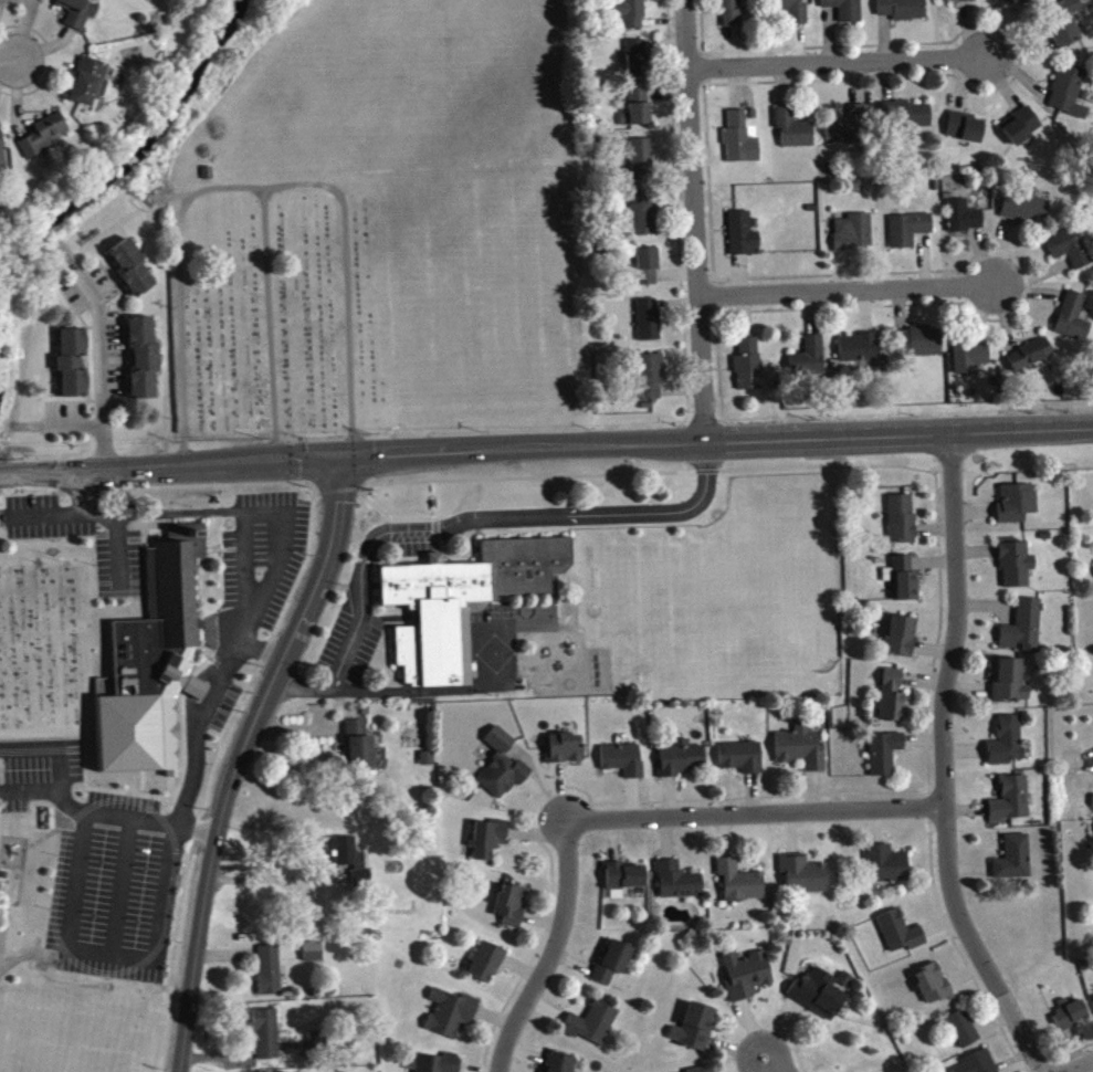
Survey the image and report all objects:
building: (23, 0)
building: (1013, 2)
building: (958, 3)
building: (845, 11)
building: (903, 11)
building: (76, 14)
building: (732, 15)
building: (1066, 24)
road: (8, 59)
road: (840, 62)
building: (638, 63)
building: (90, 87)
building: (1070, 96)
building: (640, 112)
building: (907, 119)
building: (1022, 130)
building: (852, 133)
building: (965, 133)
building: (794, 134)
building: (43, 140)
building: (740, 145)
building: (2, 158)
building: (642, 165)
road: (259, 188)
building: (1027, 211)
building: (643, 219)
building: (965, 221)
road: (697, 222)
building: (910, 234)
building: (854, 238)
building: (744, 240)
building: (1070, 252)
building: (648, 272)
building: (133, 273)
road: (849, 294)
building: (1074, 323)
road: (269, 324)
building: (649, 325)
building: (921, 347)
building: (859, 354)
building: (1030, 359)
building: (970, 361)
building: (145, 362)
building: (810, 362)
building: (73, 368)
building: (748, 369)
road: (104, 372)
building: (651, 381)
road: (716, 444)
traffic signals: (339, 455)
road: (169, 465)
building: (1017, 508)
road: (452, 523)
road: (107, 524)
building: (902, 524)
building: (1016, 569)
building: (903, 584)
building: (459, 599)
building: (1024, 632)
building: (902, 641)
building: (147, 661)
building: (1010, 686)
building: (893, 702)
road: (200, 732)
building: (1008, 747)
building: (360, 750)
building: (565, 754)
building: (802, 754)
road: (238, 756)
building: (886, 758)
building: (743, 763)
building: (428, 764)
building: (682, 764)
road: (944, 764)
building: (623, 765)
building: (503, 771)
building: (1013, 805)
road: (757, 813)
building: (488, 843)
building: (346, 856)
building: (1016, 863)
building: (889, 870)
building: (803, 879)
building: (361, 881)
building: (623, 884)
road: (274, 885)
building: (677, 886)
building: (740, 887)
building: (512, 910)
building: (901, 937)
road: (556, 952)
building: (314, 956)
building: (613, 967)
building: (487, 968)
building: (270, 976)
building: (746, 980)
building: (935, 990)
building: (820, 998)
building: (452, 1018)
building: (1071, 1018)
building: (593, 1028)
building: (695, 1032)
building: (964, 1034)
building: (267, 1040)
road: (771, 1064)
building: (979, 1064)
building: (440, 1065)
building: (560, 1065)
road: (1086, 1068)

